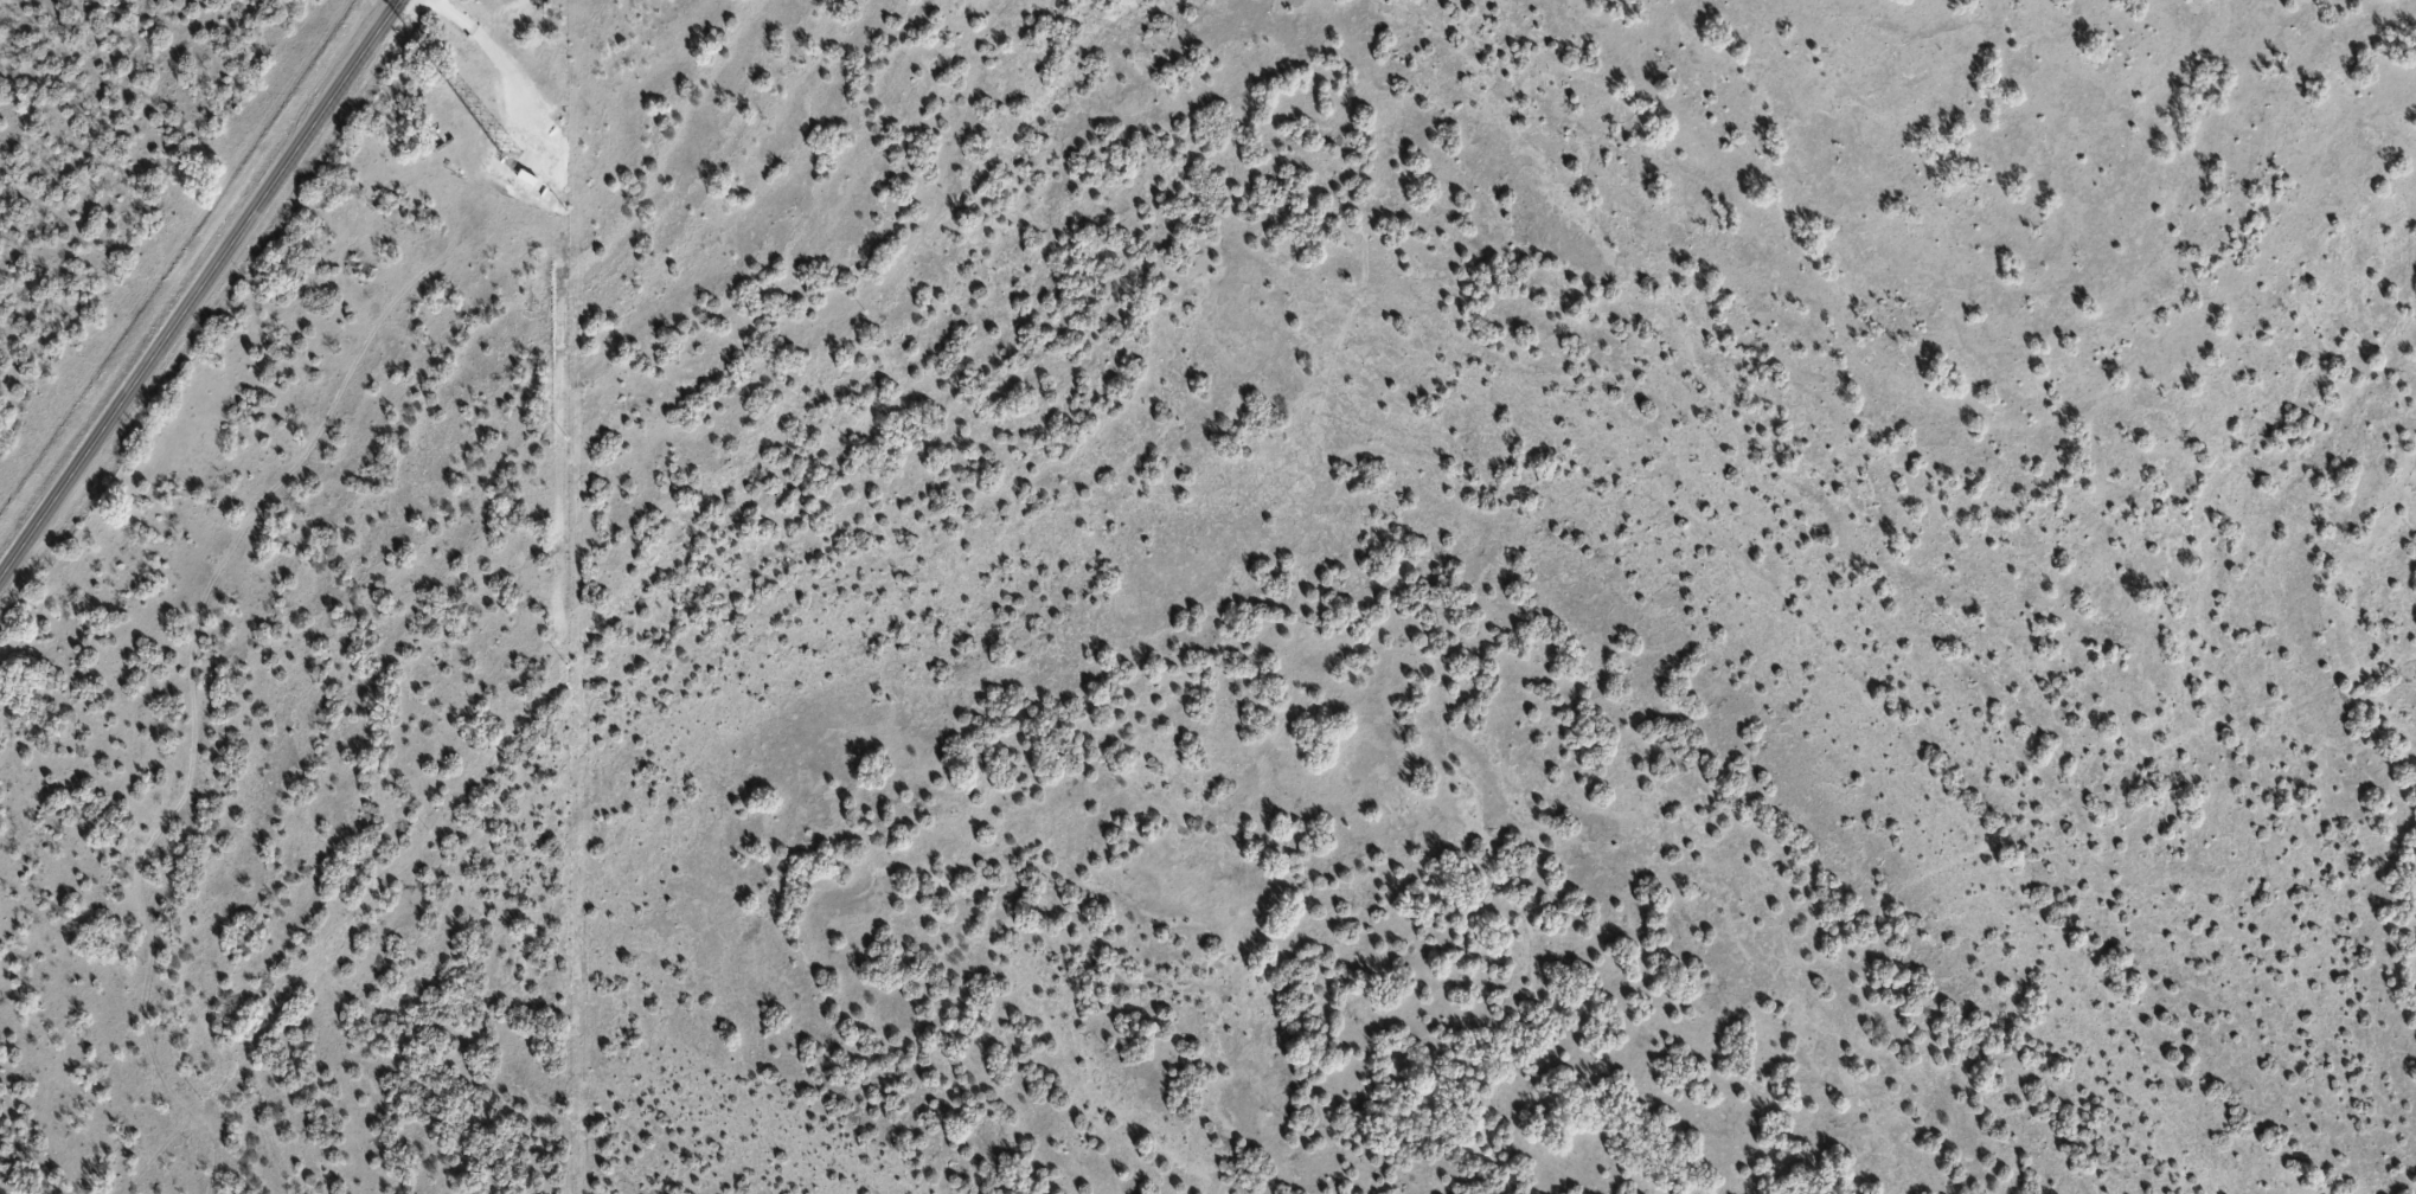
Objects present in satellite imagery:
road: (200, 290)

